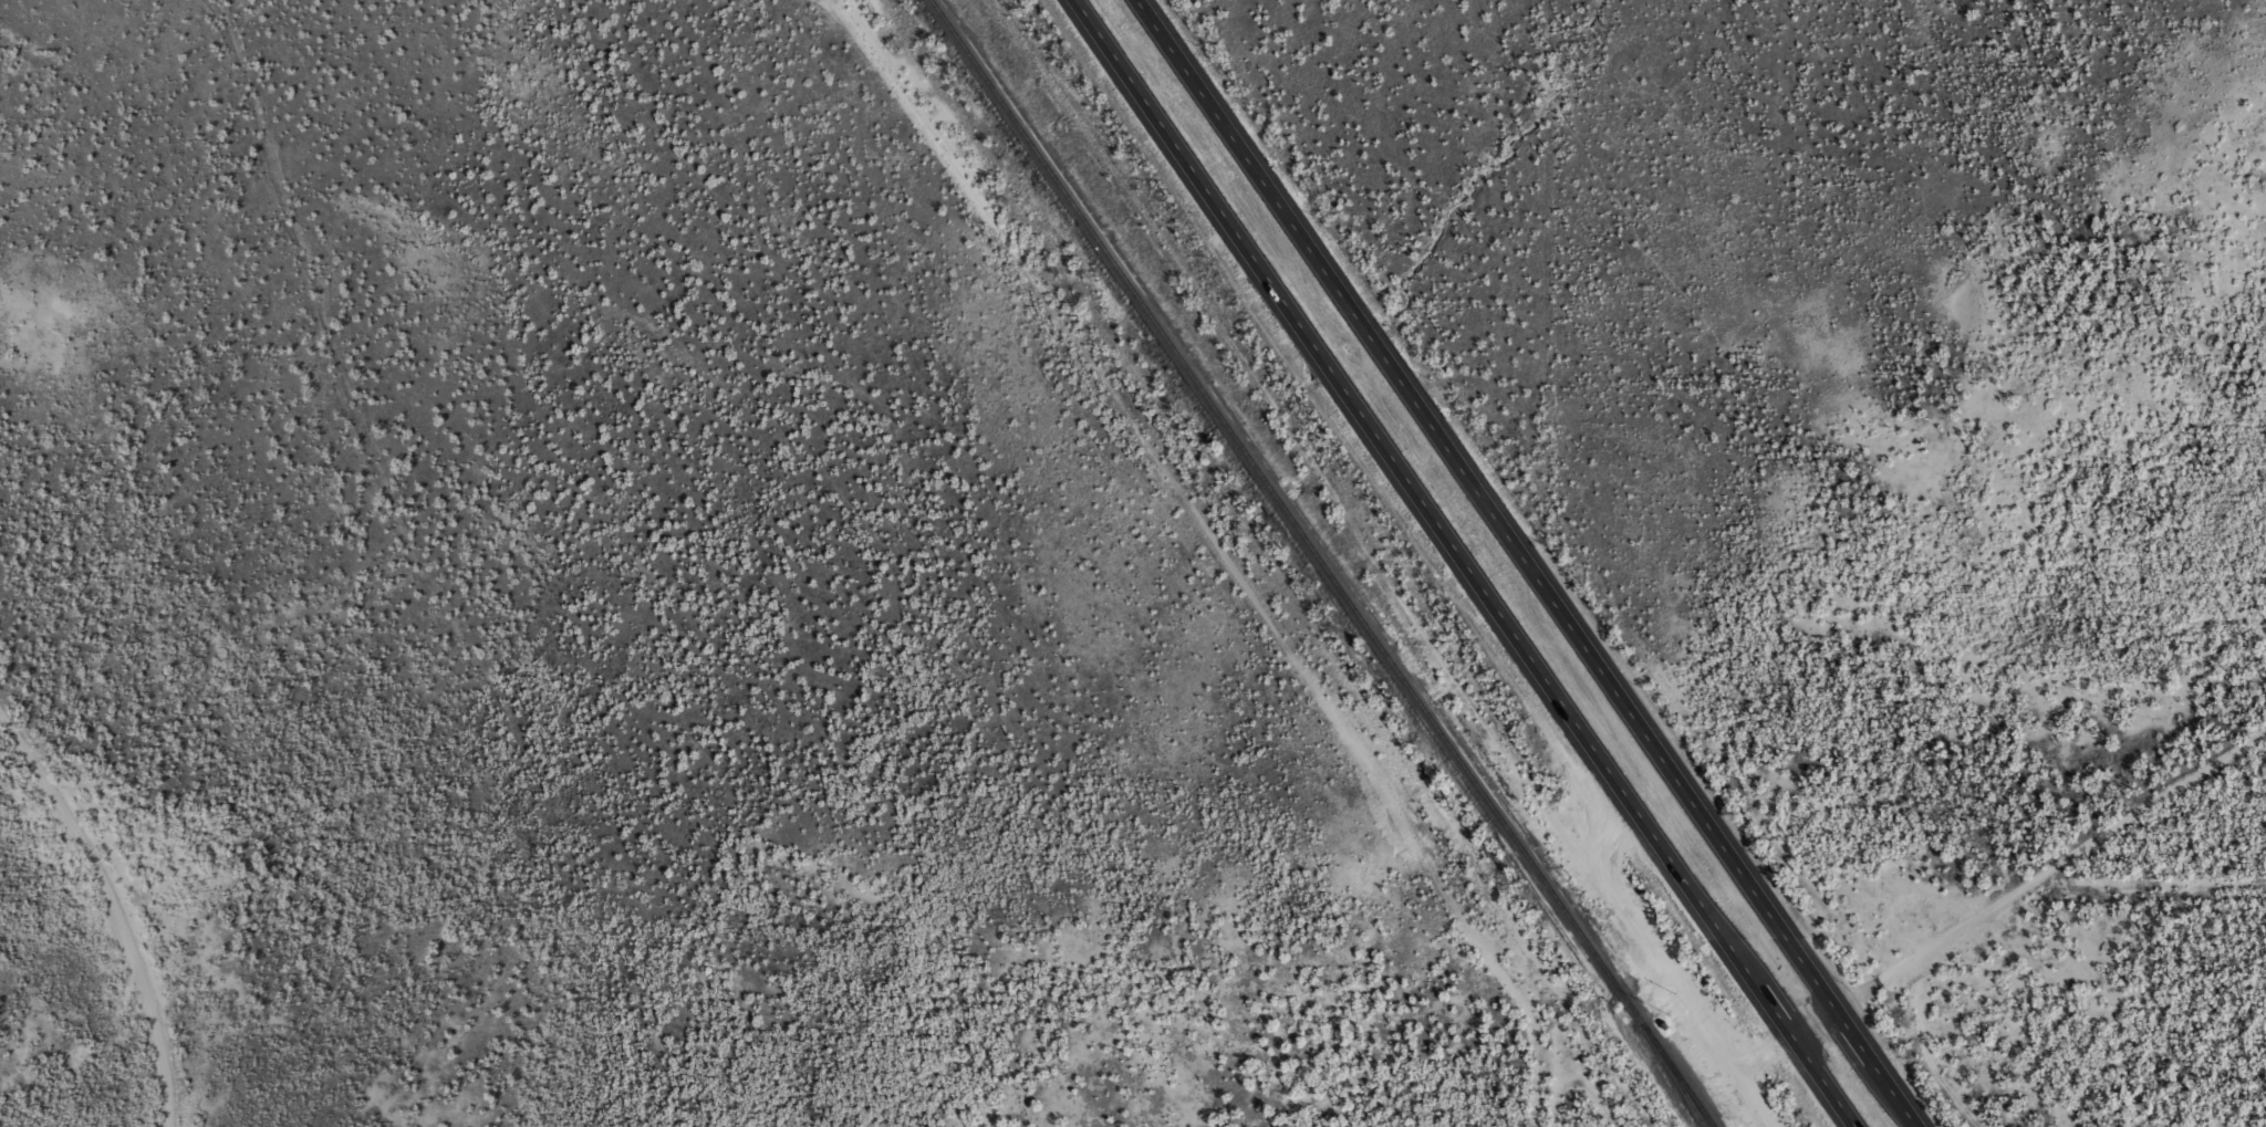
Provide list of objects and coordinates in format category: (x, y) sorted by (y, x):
road: (1466, 562)
railway: (1326, 563)
road: (1529, 563)
road: (2026, 877)
road: (117, 909)
railway: (1680, 1082)

